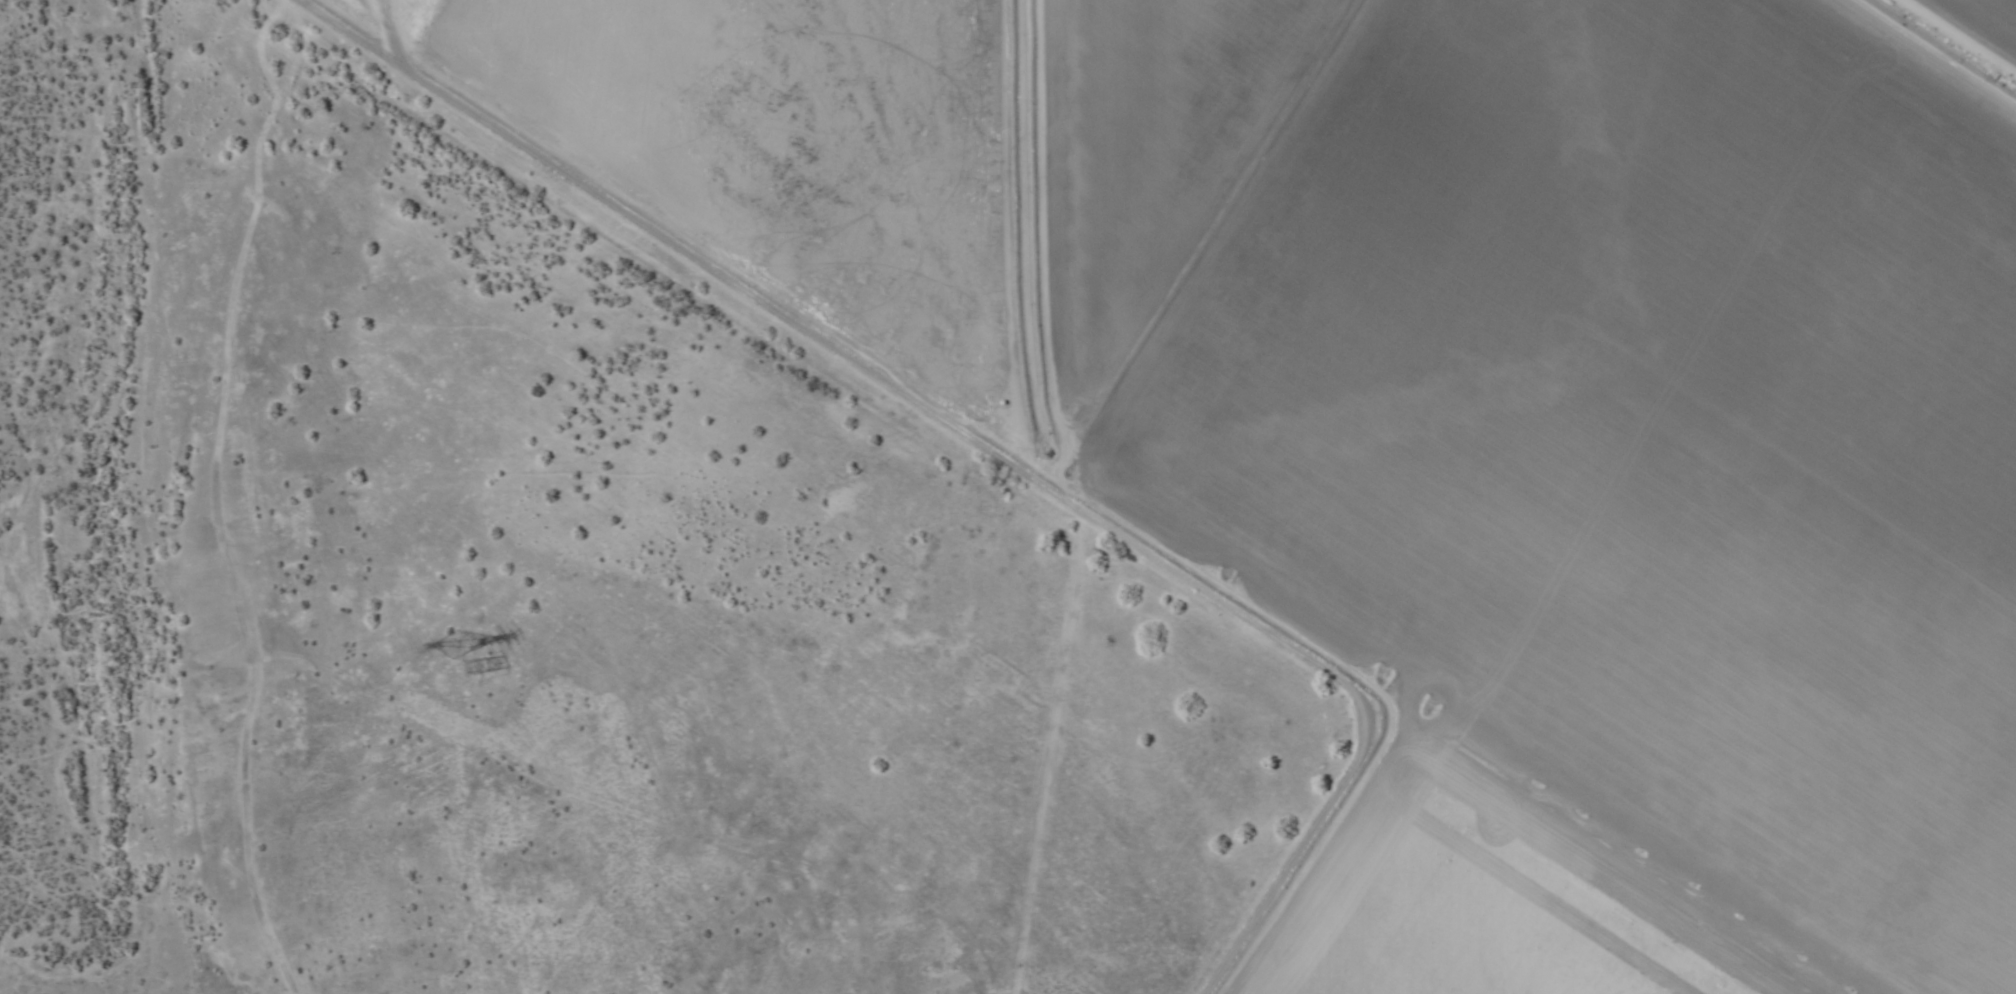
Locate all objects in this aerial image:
crop: (1631, 430)
road: (1073, 552)
power tower: (452, 643)

